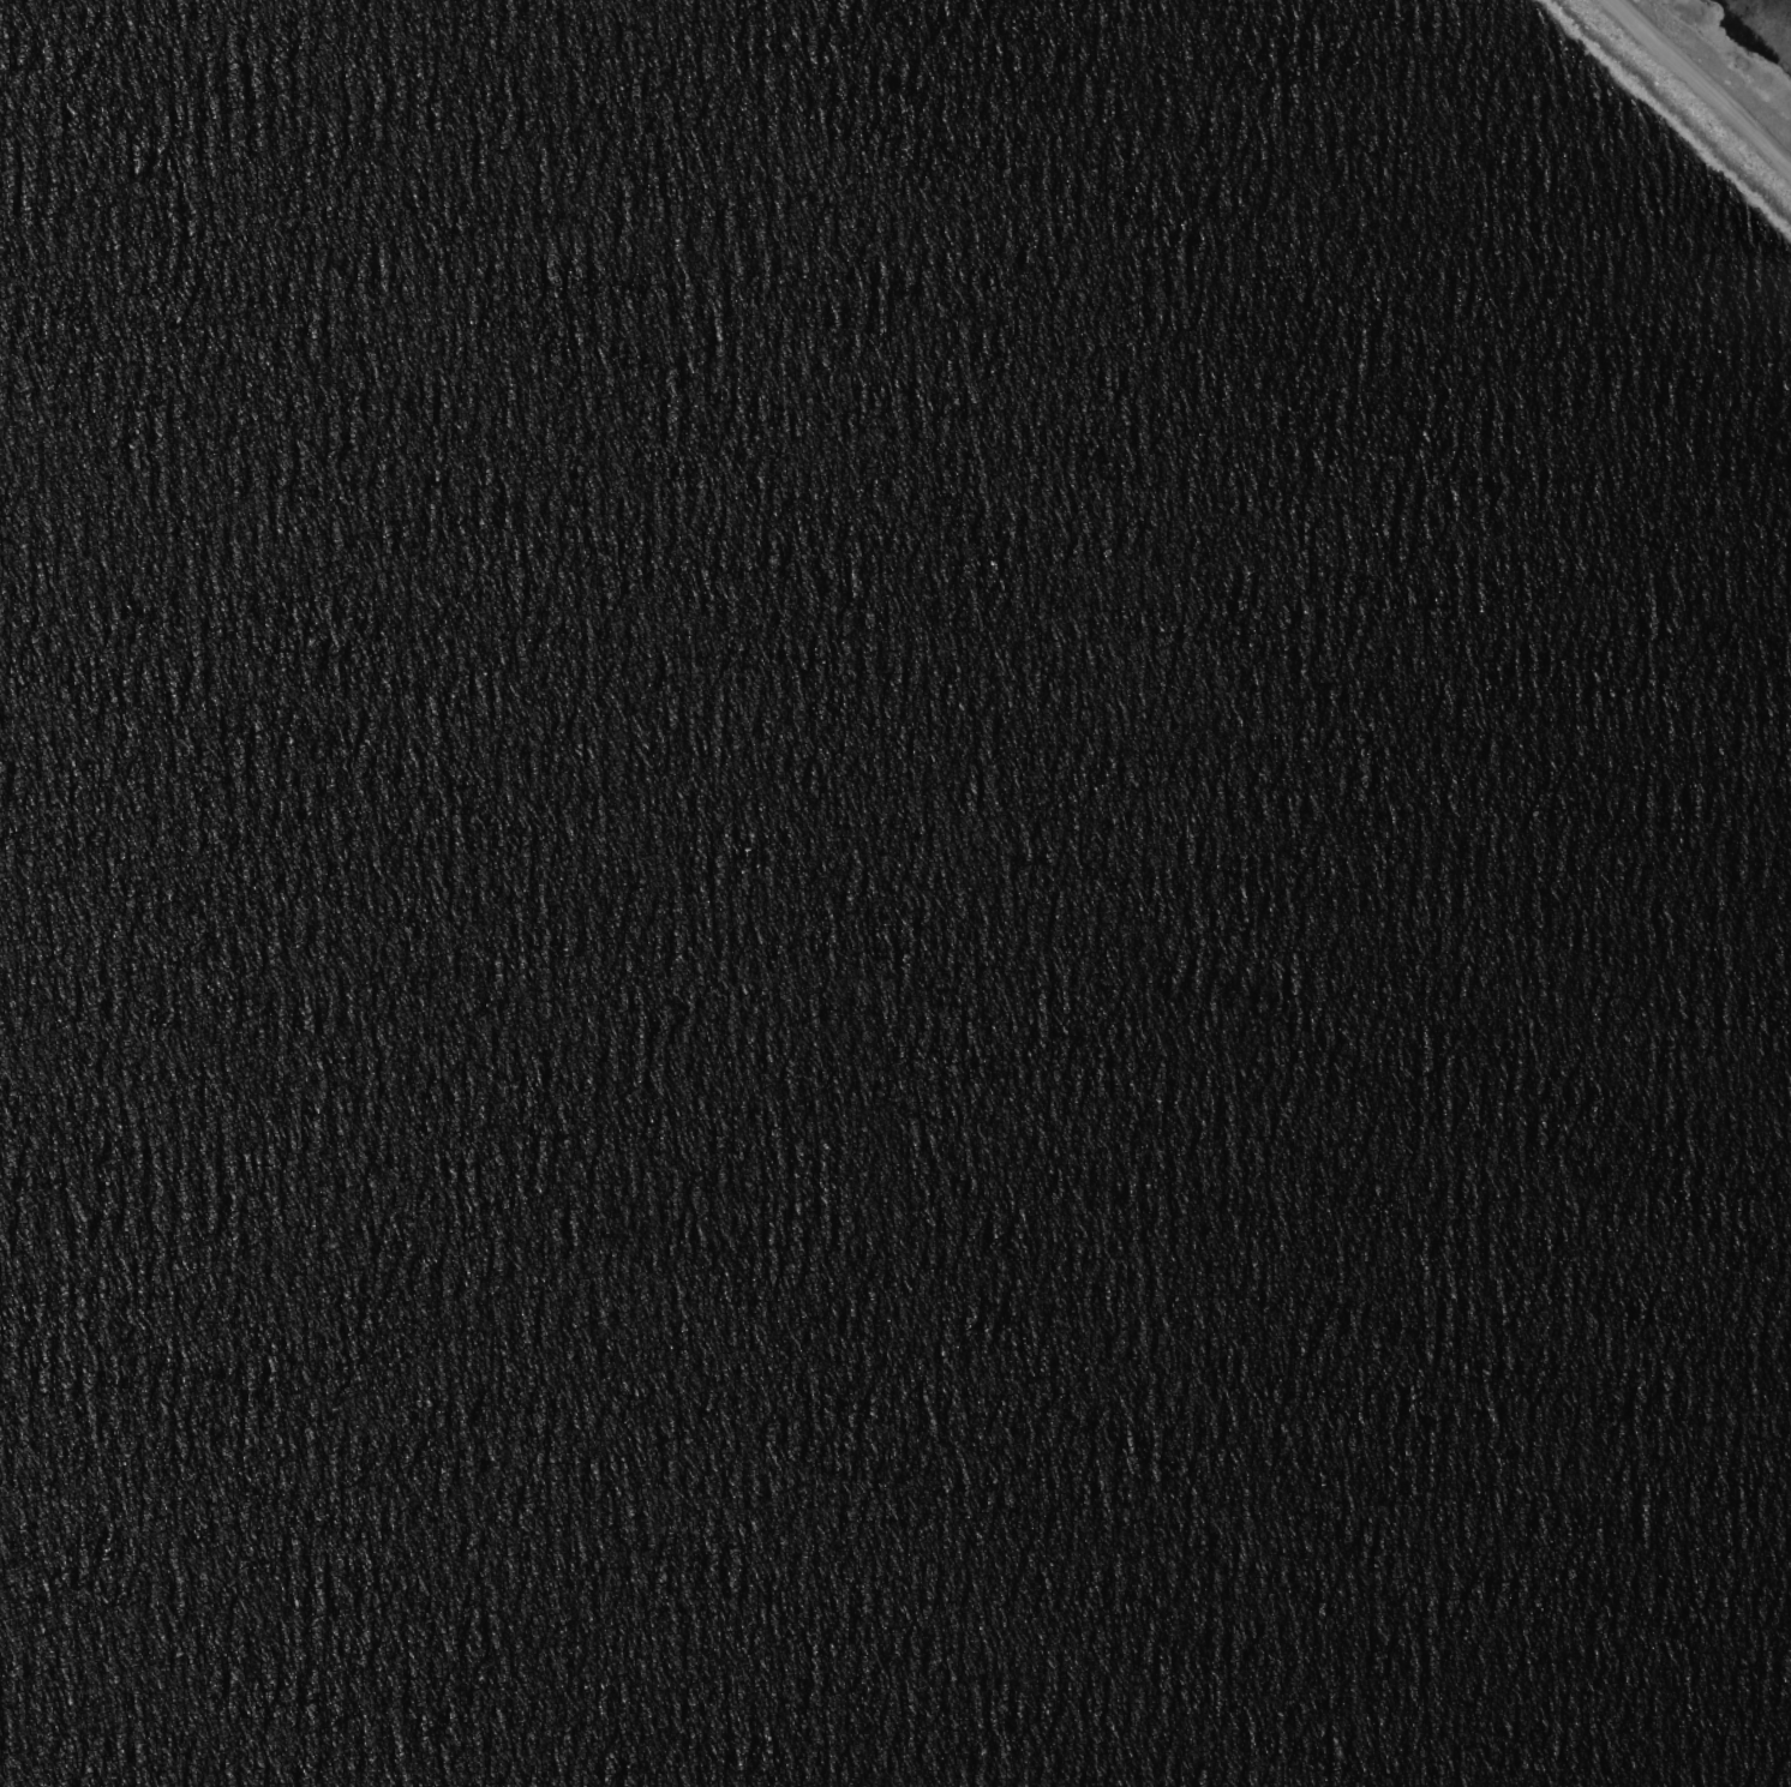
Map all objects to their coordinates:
airport: (1711, 72)

